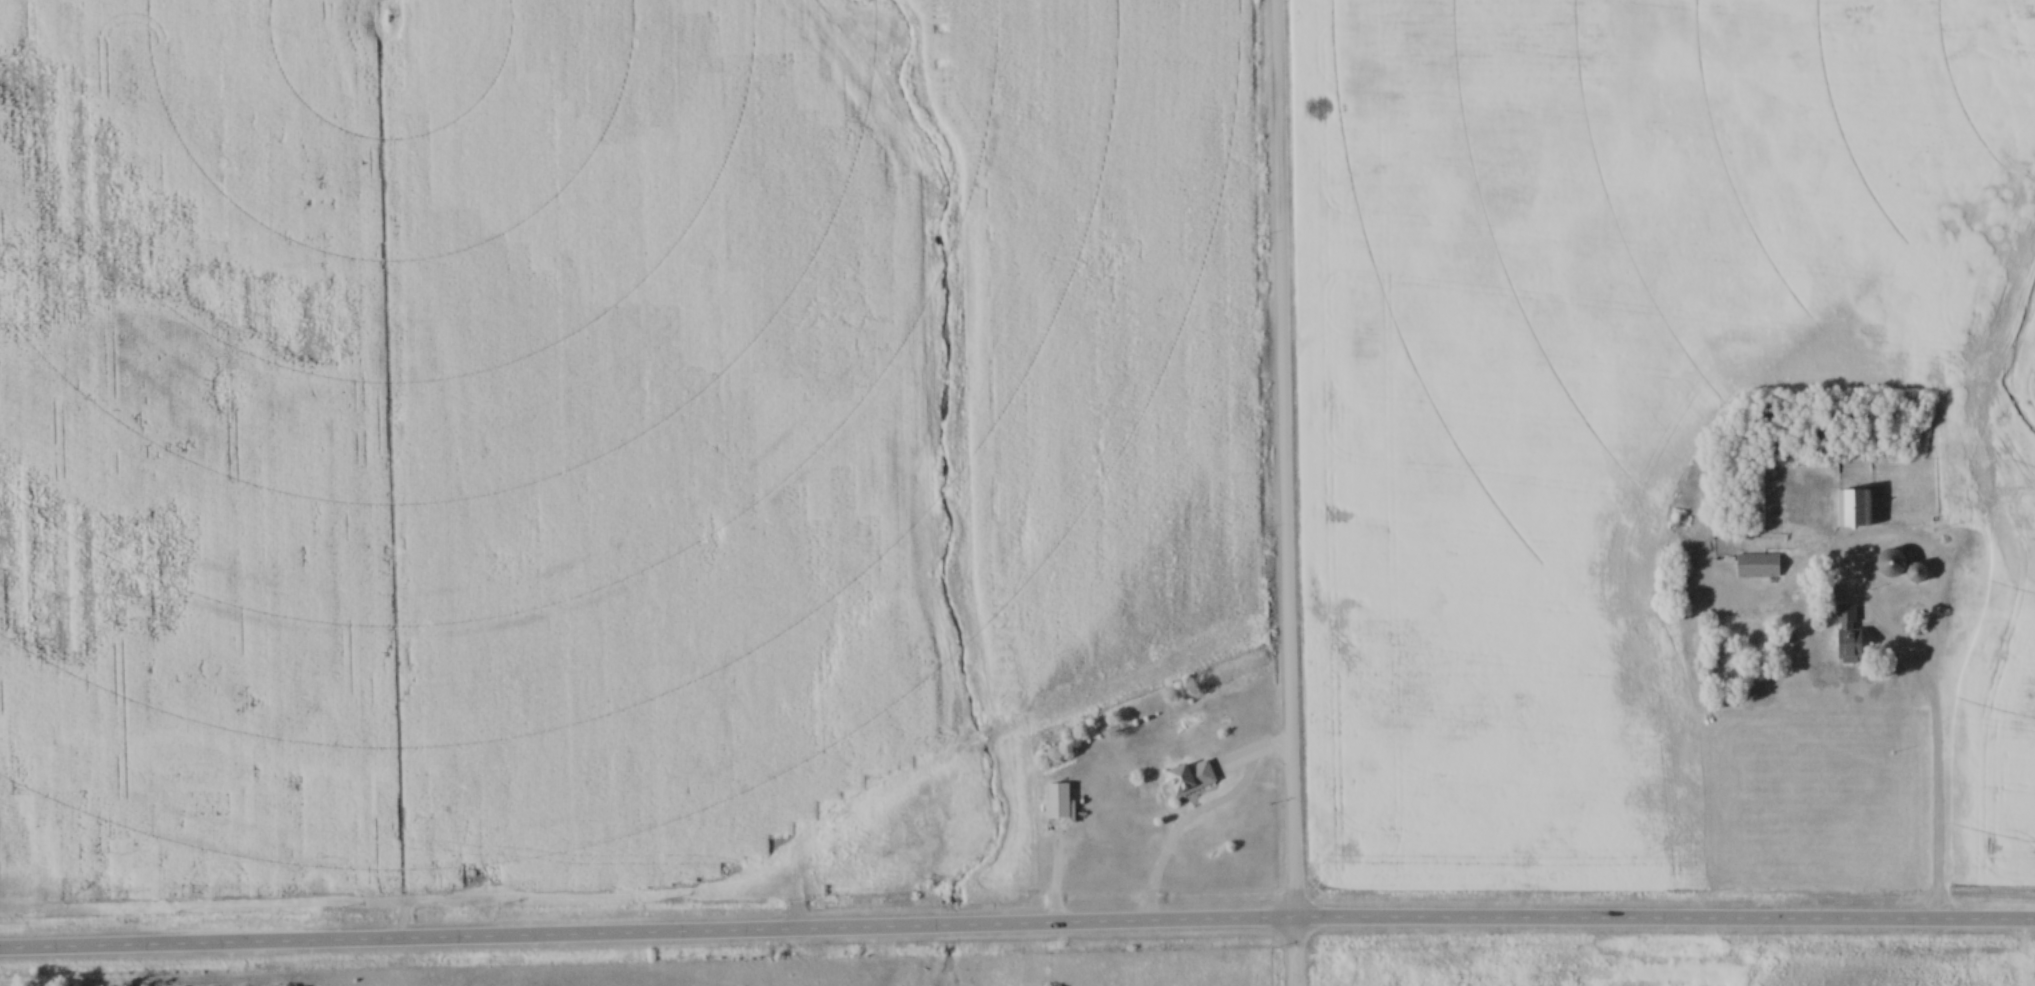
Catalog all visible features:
road: (1282, 492)
building: (1853, 510)
building: (1891, 565)
building: (1757, 566)
building: (1916, 574)
building: (1848, 636)
road: (1933, 765)
building: (1190, 778)
road: (1017, 931)

